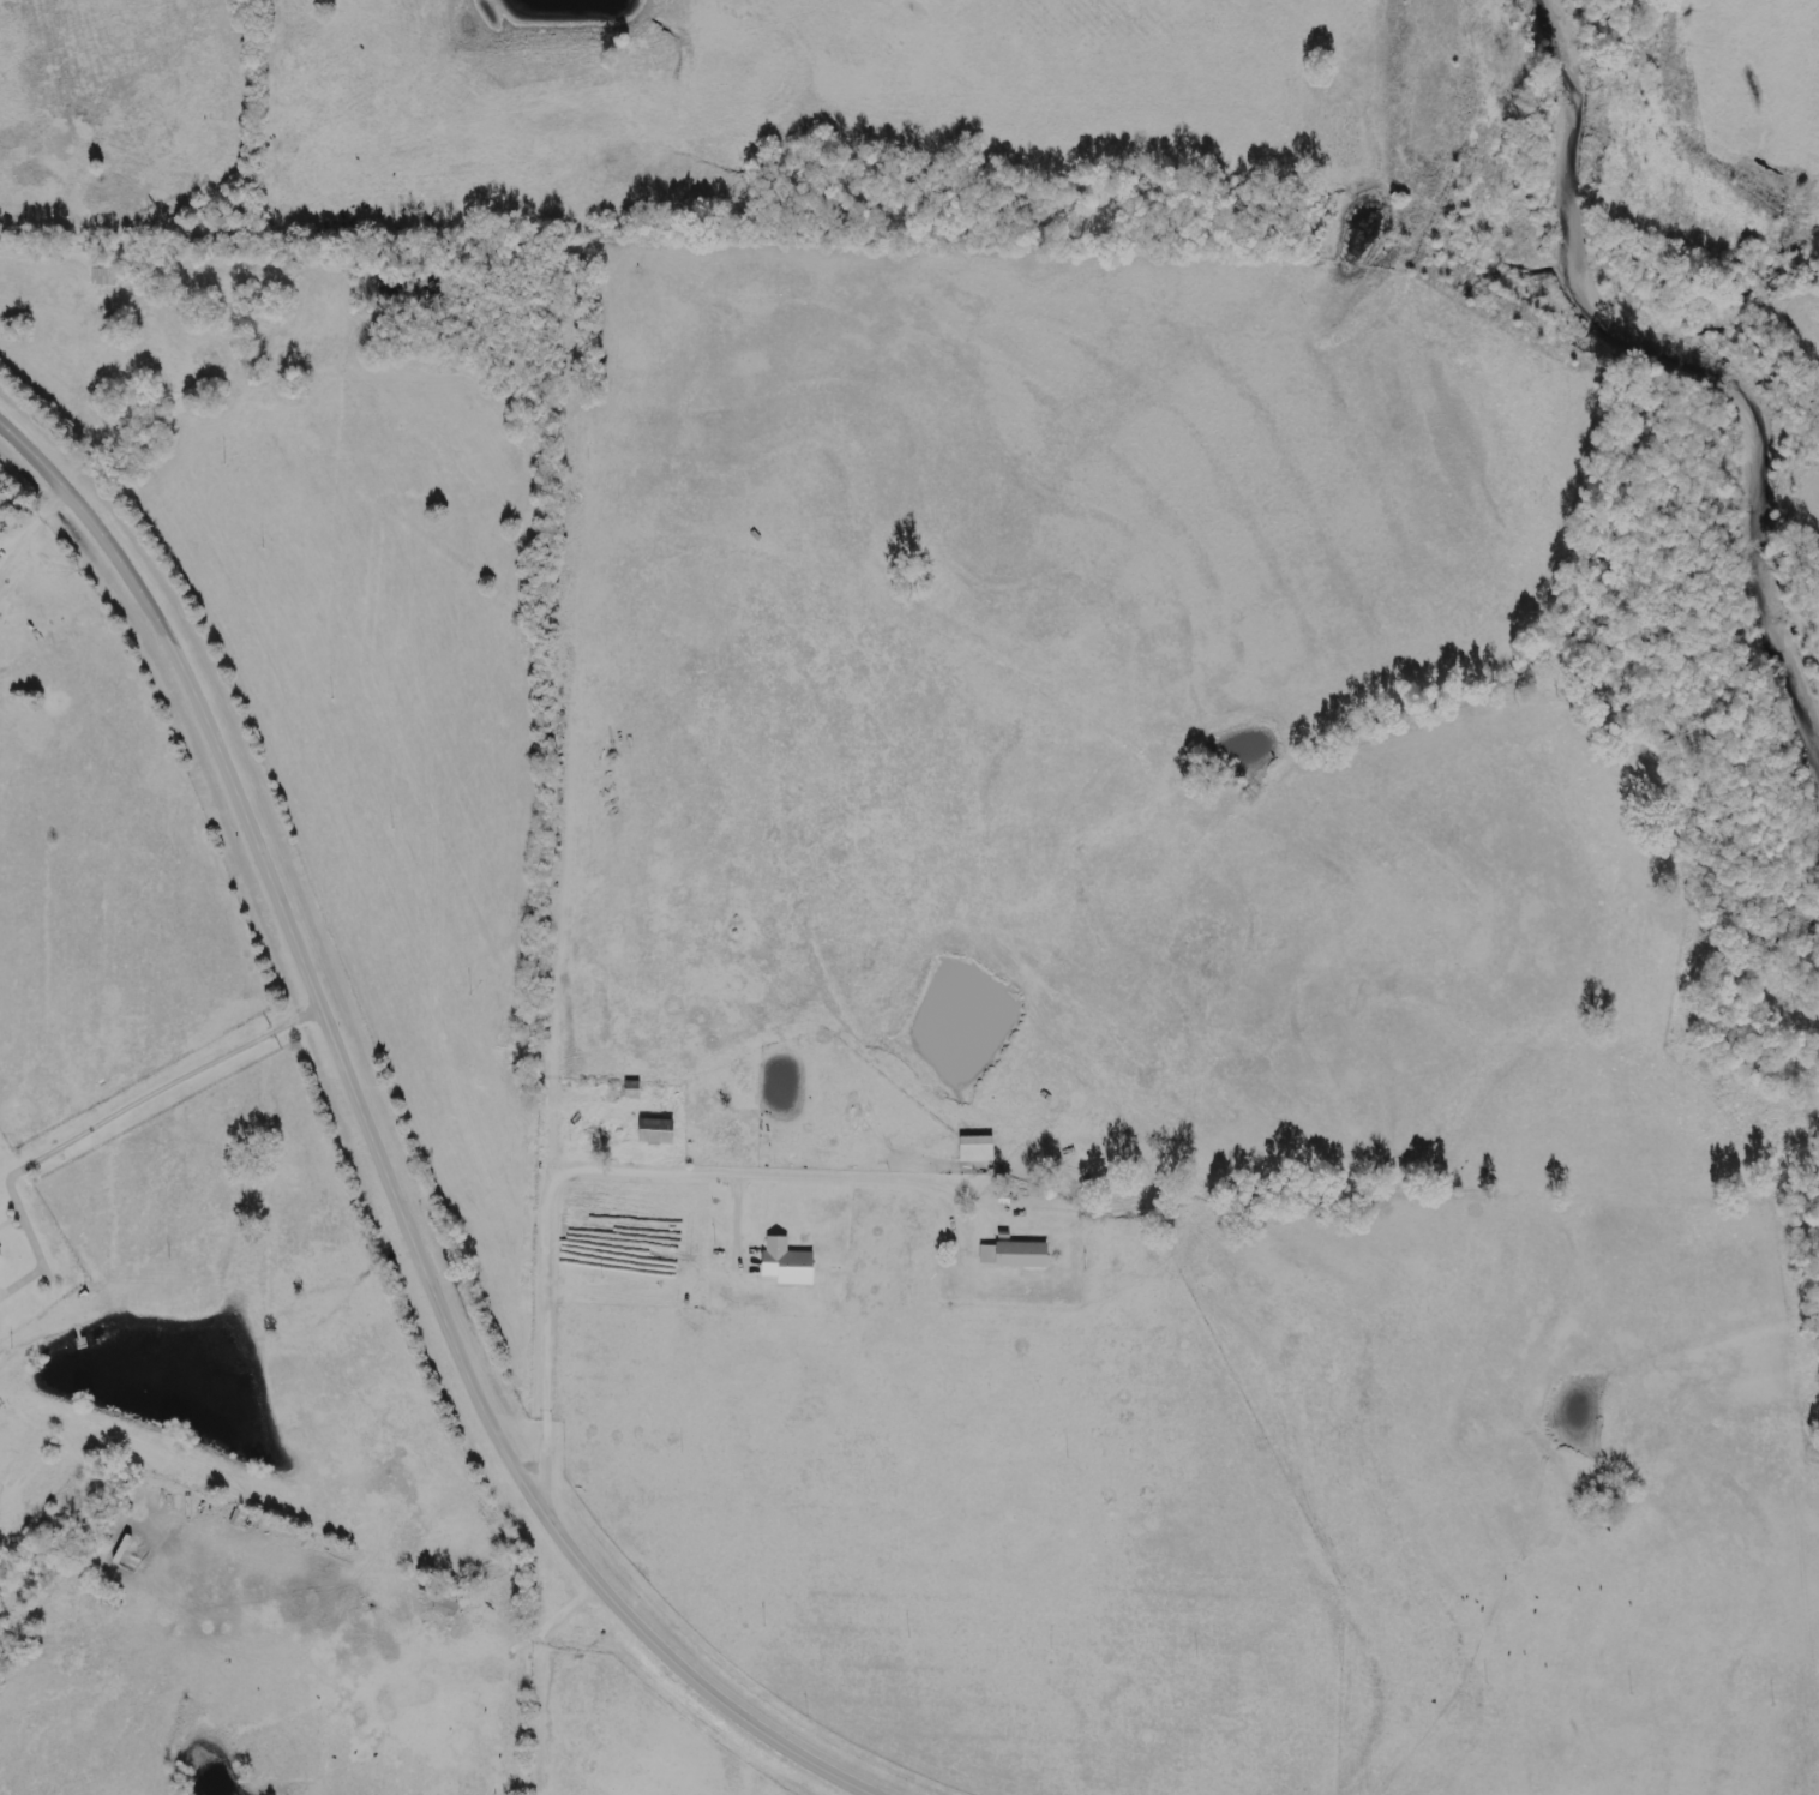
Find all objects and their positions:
road: (228, 118)
road: (560, 720)
building: (654, 1129)
building: (975, 1148)
road: (384, 1149)
building: (1014, 1254)
building: (785, 1261)
road: (534, 1671)

